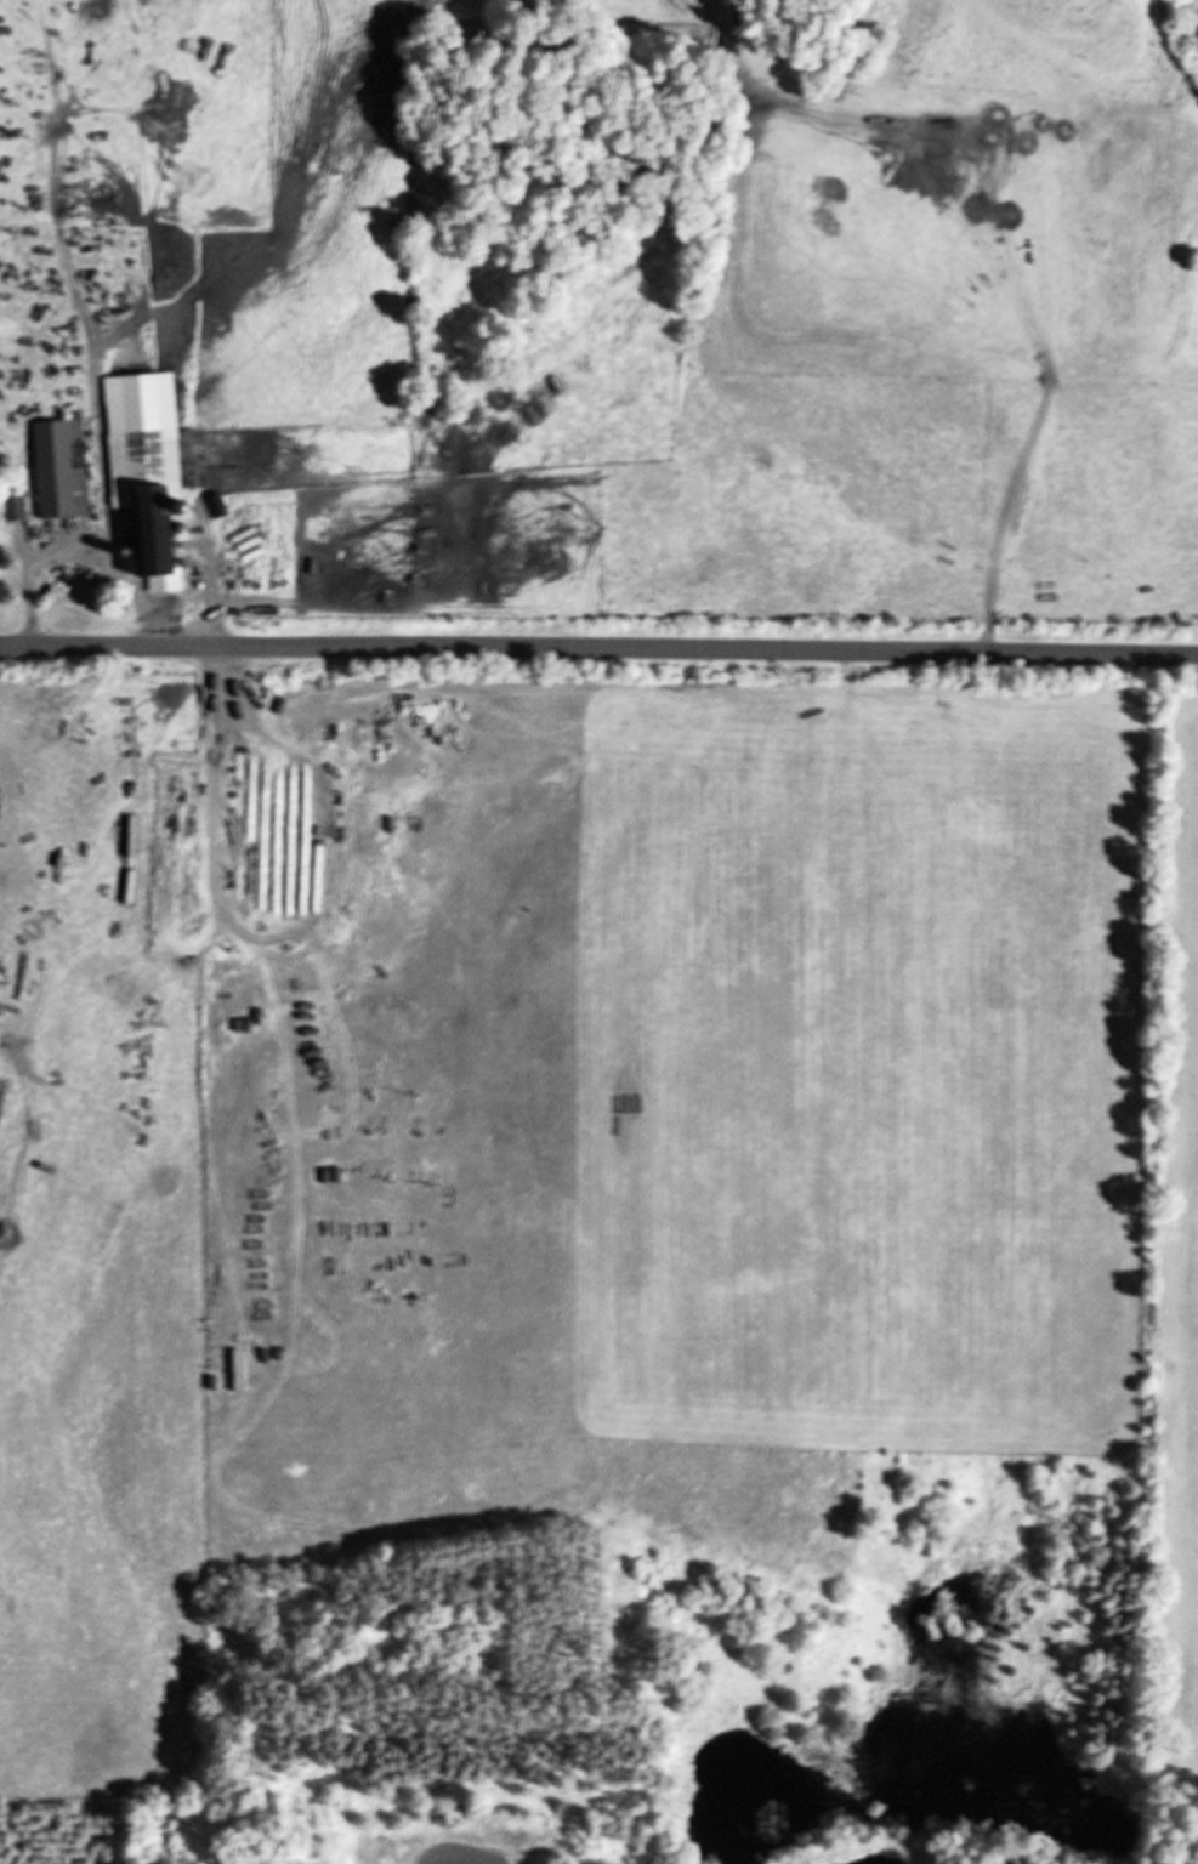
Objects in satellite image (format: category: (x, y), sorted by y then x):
building: (143, 461)
building: (59, 466)
road: (598, 648)

